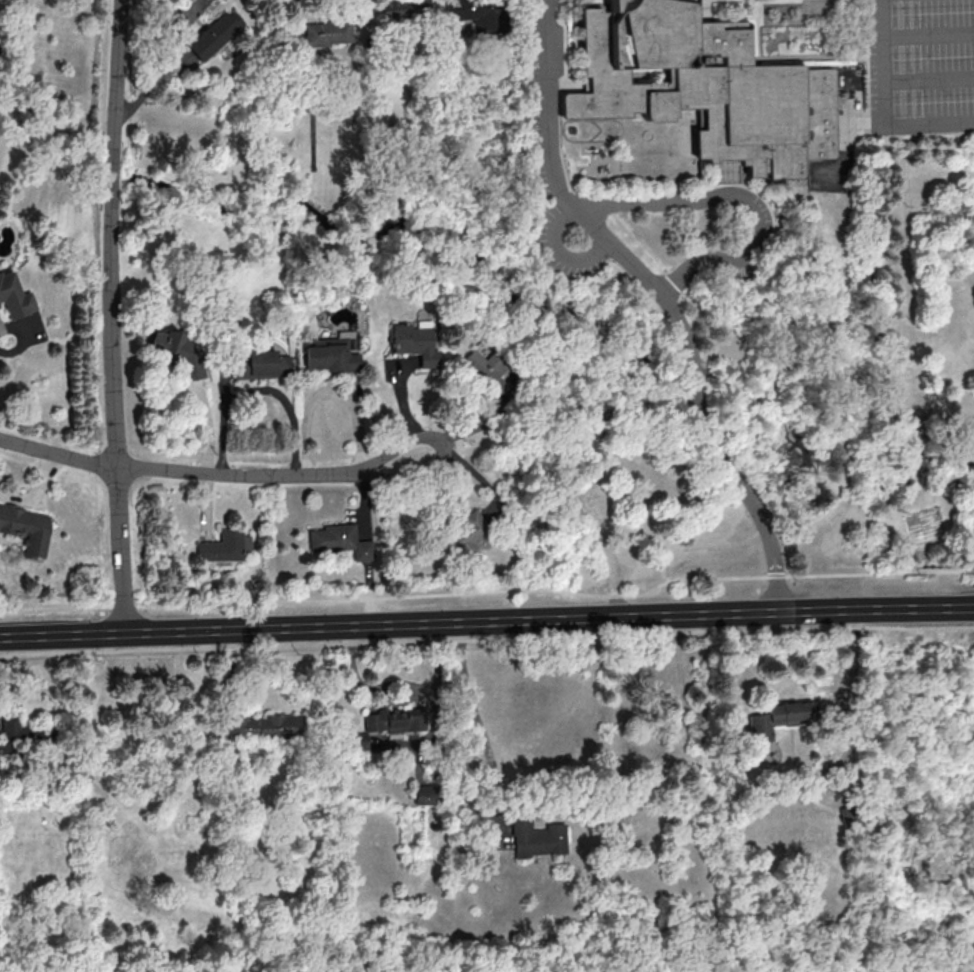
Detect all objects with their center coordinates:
building: (403, 10)
building: (475, 13)
road: (362, 14)
building: (323, 33)
building: (211, 34)
road: (926, 35)
parking lot: (921, 66)
road: (927, 81)
building: (702, 88)
road: (880, 109)
parking lot: (533, 126)
river: (28, 132)
parking lot: (844, 139)
road: (551, 169)
river: (111, 173)
road: (742, 200)
road: (768, 207)
road: (558, 253)
river: (399, 270)
building: (13, 296)
road: (110, 316)
road: (28, 332)
building: (414, 343)
building: (177, 352)
building: (330, 355)
building: (260, 364)
building: (481, 364)
river: (691, 369)
road: (259, 389)
river: (853, 390)
road: (331, 393)
road: (716, 456)
road: (970, 467)
road: (209, 473)
road: (952, 480)
road: (36, 492)
road: (929, 498)
building: (26, 528)
building: (465, 535)
building: (339, 540)
building: (223, 546)
road: (969, 569)
road: (484, 591)
road: (486, 620)
road: (486, 638)
road: (852, 698)
building: (778, 718)
building: (396, 721)
building: (263, 726)
building: (11, 732)
building: (358, 741)
building: (424, 794)
building: (850, 816)
building: (536, 837)

